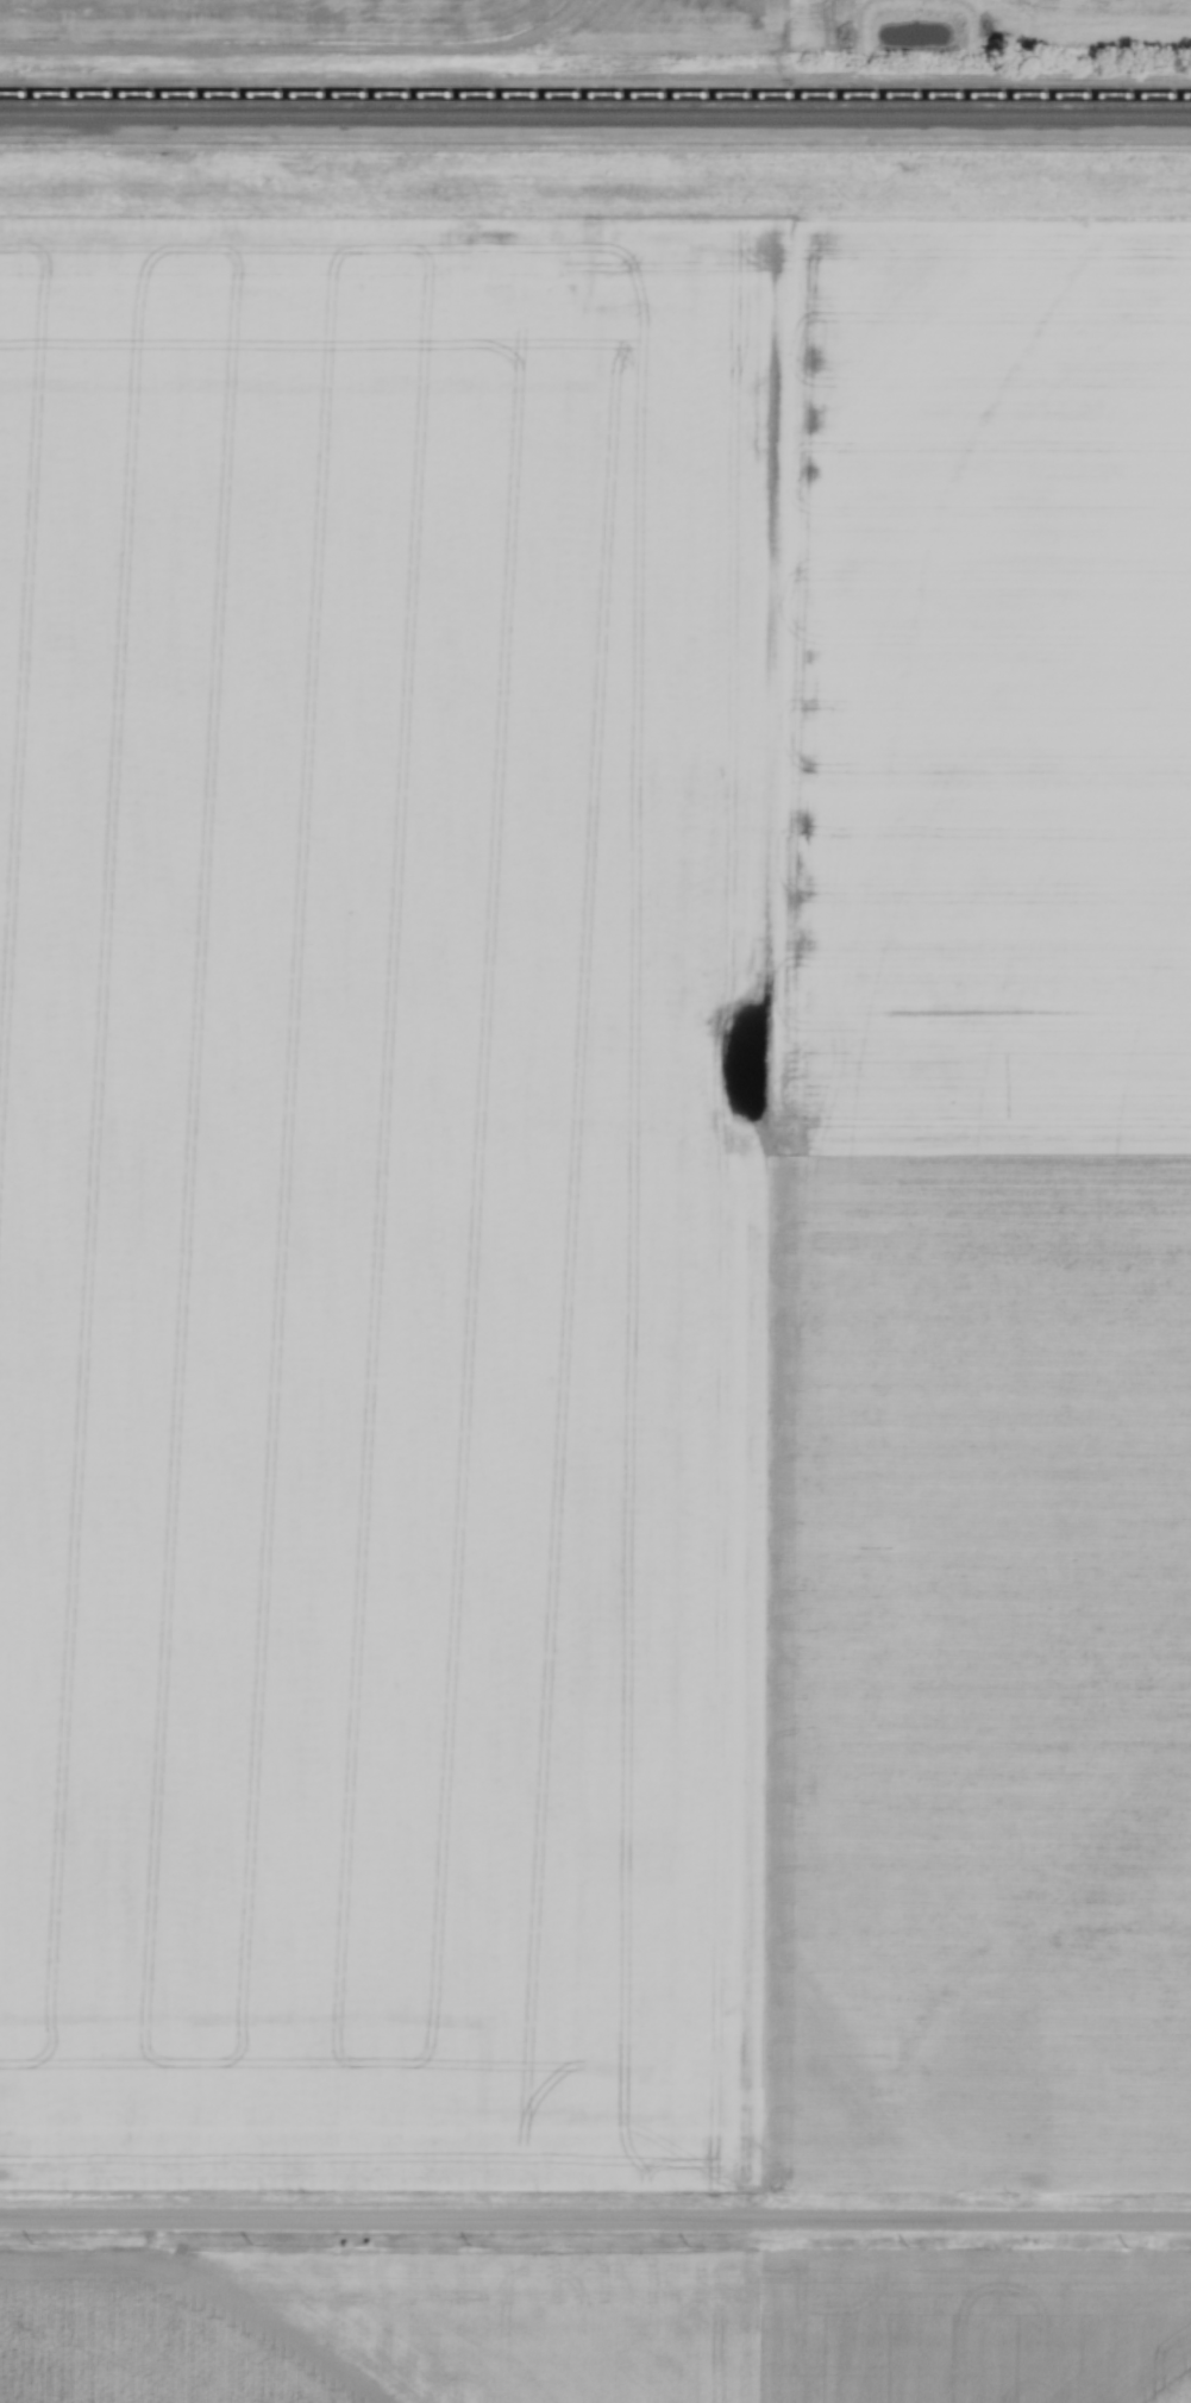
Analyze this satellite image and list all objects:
railway: (595, 90)
railway: (595, 115)
road: (595, 2224)

